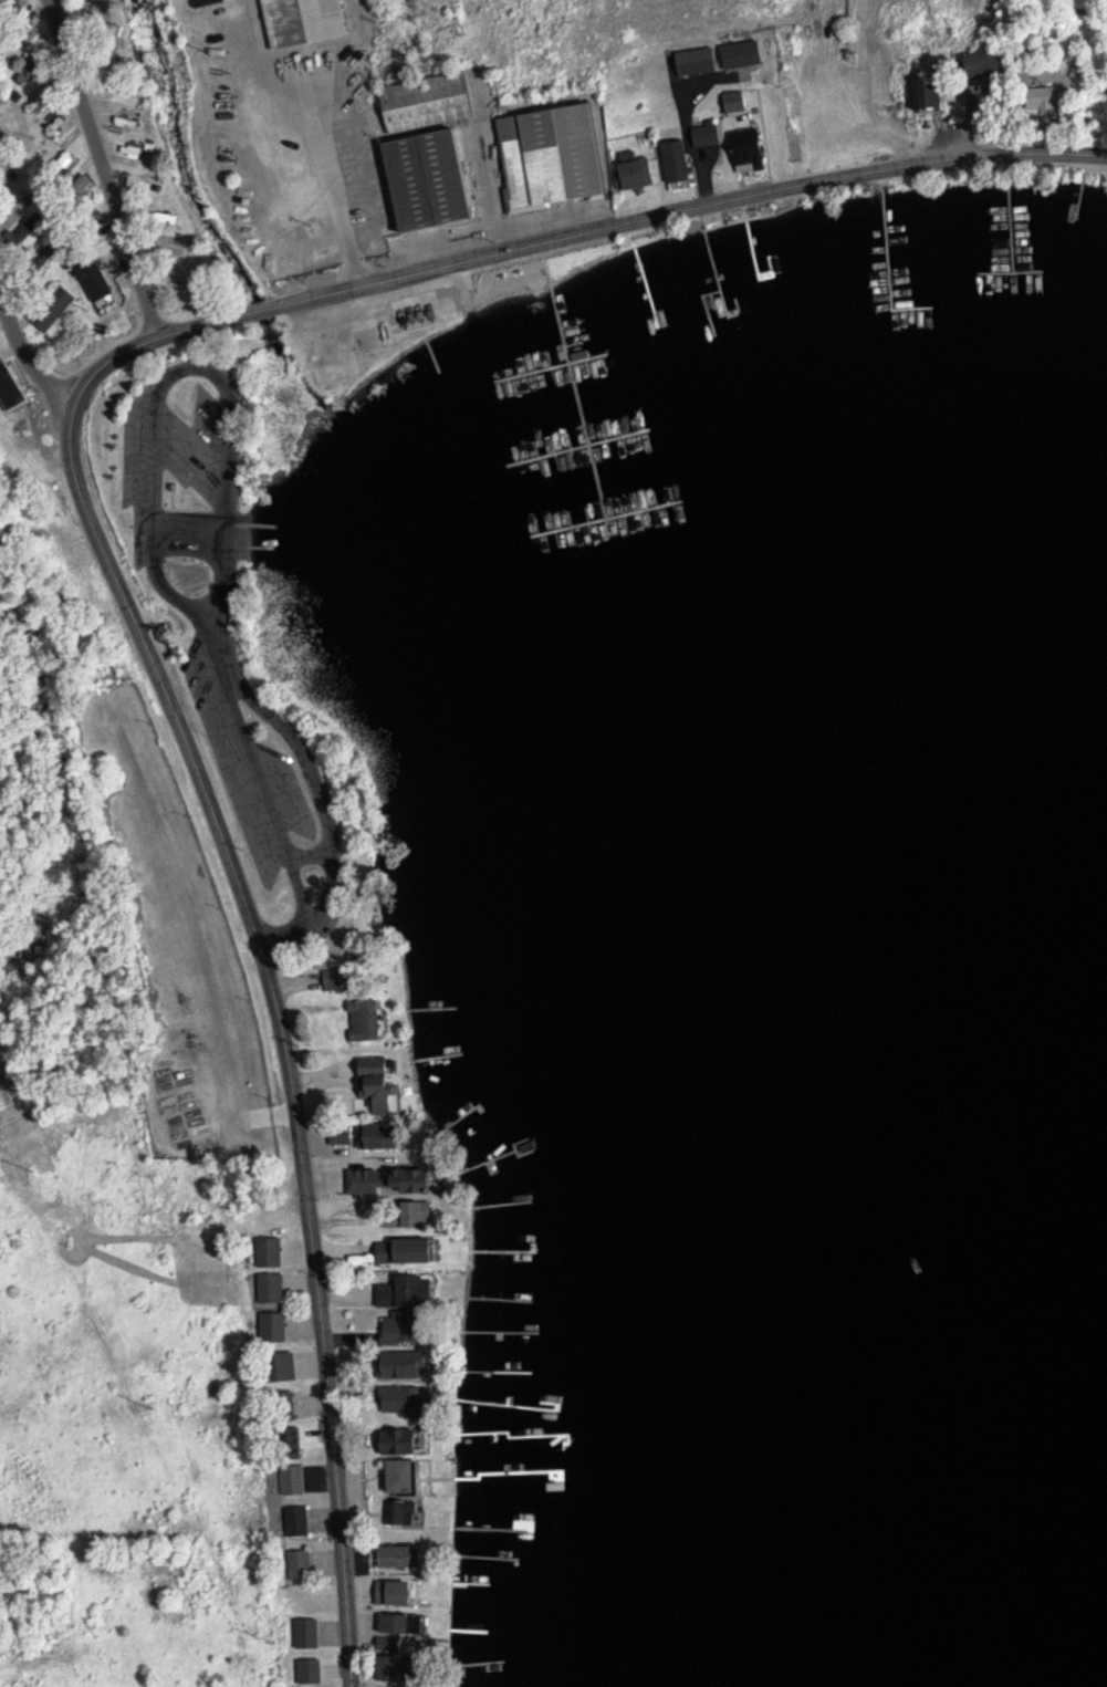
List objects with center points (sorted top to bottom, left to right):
building: (205, 2)
building: (302, 21)
building: (742, 53)
building: (698, 61)
building: (988, 62)
building: (30, 65)
building: (931, 94)
building: (1055, 96)
building: (734, 101)
building: (55, 127)
building: (707, 135)
building: (130, 148)
building: (429, 149)
building: (748, 149)
building: (553, 157)
building: (678, 160)
road: (98, 171)
building: (634, 171)
road: (713, 207)
building: (27, 229)
building: (93, 280)
road: (286, 303)
building: (55, 311)
pier: (550, 365)
road: (24, 368)
road: (195, 368)
building: (10, 387)
pier: (576, 393)
pier: (583, 445)
pier: (604, 513)
road: (251, 538)
park: (227, 627)
road: (254, 929)
road: (283, 934)
building: (342, 979)
building: (364, 1019)
building: (380, 1084)
building: (341, 1135)
building: (379, 1136)
building: (391, 1180)
building: (417, 1214)
building: (408, 1250)
building: (269, 1251)
building: (271, 1287)
building: (407, 1291)
building: (407, 1325)
building: (273, 1326)
building: (284, 1366)
building: (404, 1399)
building: (405, 1443)
building: (291, 1447)
building: (405, 1476)
building: (400, 1511)
building: (296, 1521)
building: (398, 1555)
building: (299, 1564)
building: (396, 1592)
building: (404, 1623)
building: (306, 1632)
building: (389, 1643)
building: (398, 1667)
building: (309, 1670)

